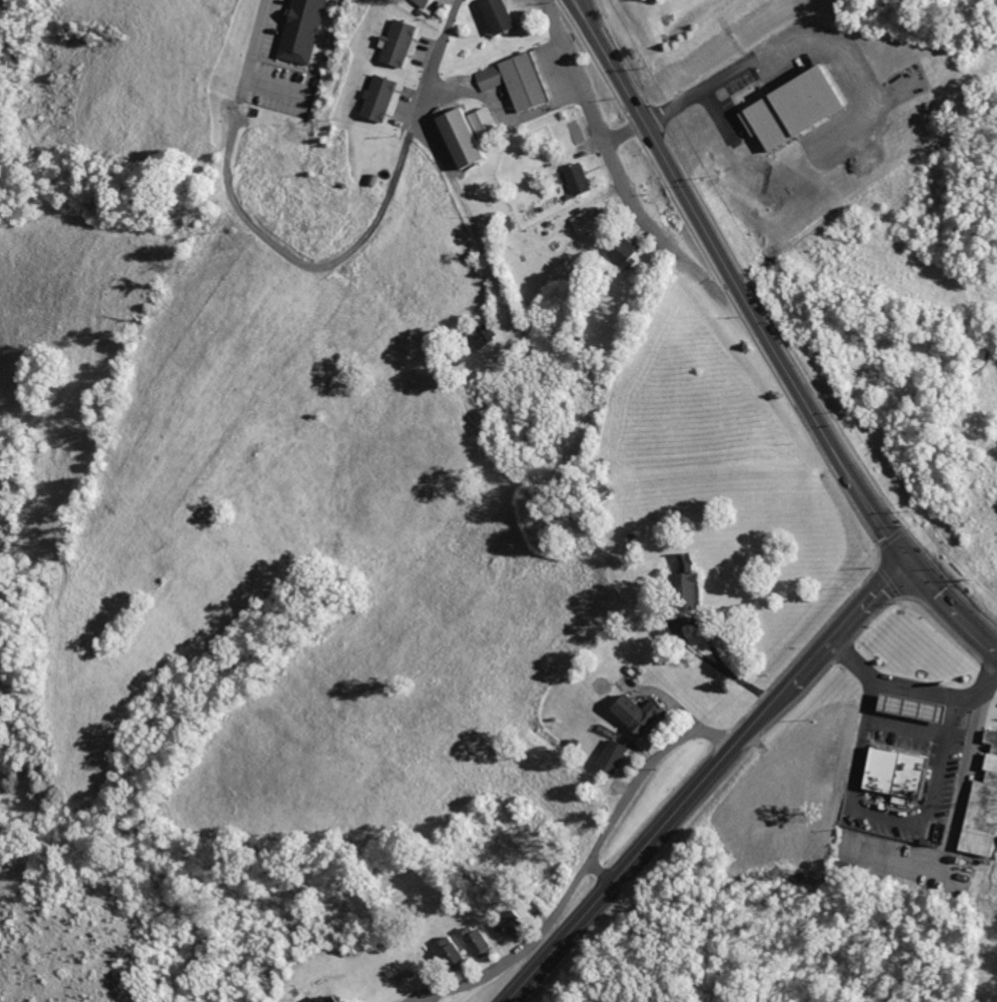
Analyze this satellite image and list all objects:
building: (422, 2)
building: (491, 15)
building: (301, 30)
building: (394, 43)
building: (517, 81)
building: (375, 98)
road: (621, 128)
building: (471, 133)
building: (452, 137)
road: (605, 148)
road: (419, 151)
building: (573, 179)
building: (584, 221)
building: (622, 253)
road: (303, 265)
road: (737, 284)
traffic signals: (911, 564)
road: (951, 611)
building: (906, 708)
building: (631, 713)
building: (608, 757)
building: (891, 773)
road: (703, 779)
building: (979, 811)
road: (569, 862)
building: (473, 940)
building: (444, 949)
building: (315, 998)
road: (409, 999)

